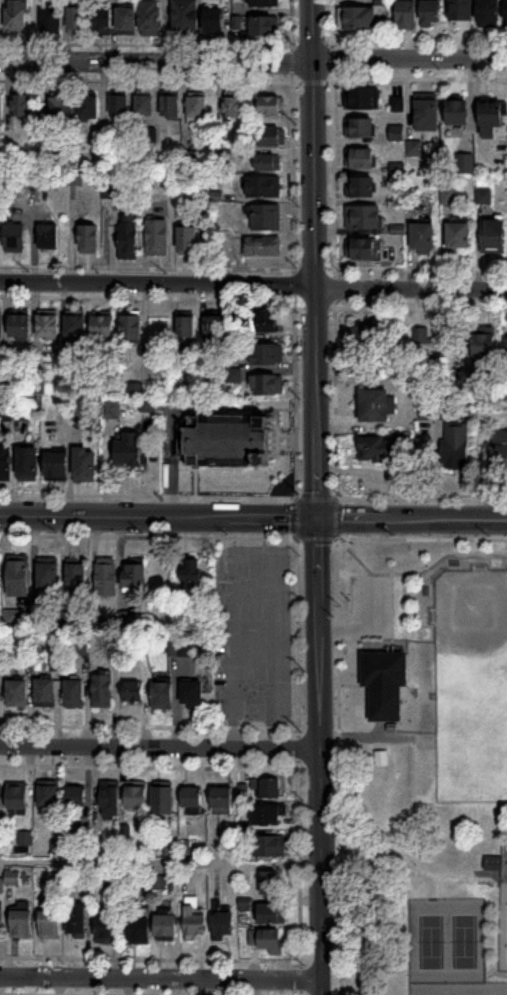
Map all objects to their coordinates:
building: (264, 3)
building: (461, 10)
building: (431, 13)
building: (489, 13)
building: (506, 13)
building: (18, 15)
building: (407, 15)
building: (52, 16)
building: (186, 16)
building: (363, 16)
road: (289, 17)
road: (329, 17)
building: (151, 18)
building: (77, 19)
building: (127, 19)
building: (214, 20)
building: (102, 21)
building: (264, 26)
road: (310, 35)
road: (290, 57)
road: (330, 57)
road: (253, 62)
road: (310, 80)
building: (360, 98)
building: (23, 106)
building: (119, 106)
building: (145, 106)
building: (170, 106)
building: (272, 106)
building: (62, 107)
building: (90, 107)
building: (197, 107)
building: (233, 107)
building: (1, 108)
building: (457, 113)
building: (426, 115)
building: (491, 119)
building: (360, 128)
building: (396, 133)
building: (272, 136)
building: (413, 148)
building: (360, 159)
building: (268, 163)
building: (43, 178)
building: (76, 179)
building: (264, 187)
building: (360, 187)
building: (115, 192)
building: (265, 217)
building: (363, 217)
building: (494, 236)
building: (129, 237)
building: (459, 237)
building: (49, 238)
building: (158, 238)
building: (423, 238)
building: (15, 239)
building: (90, 239)
building: (188, 241)
building: (257, 247)
building: (362, 249)
road: (315, 257)
road: (253, 286)
building: (268, 321)
building: (20, 325)
building: (48, 325)
building: (131, 325)
building: (76, 326)
building: (103, 326)
building: (1, 327)
building: (185, 327)
building: (215, 328)
building: (370, 333)
building: (420, 336)
building: (484, 348)
building: (505, 354)
building: (268, 355)
building: (235, 376)
building: (267, 385)
building: (374, 403)
building: (112, 410)
building: (229, 442)
building: (455, 444)
building: (383, 448)
building: (130, 450)
building: (499, 450)
building: (27, 462)
building: (5, 463)
building: (84, 464)
building: (57, 465)
road: (147, 494)
road: (400, 496)
road: (157, 515)
traffic signals: (315, 516)
road: (410, 517)
road: (147, 535)
road: (400, 537)
road: (416, 571)
building: (0, 573)
building: (16, 573)
road: (370, 573)
building: (47, 575)
building: (77, 576)
building: (106, 578)
building: (135, 578)
building: (191, 578)
parking lot: (372, 599)
park: (471, 610)
road: (370, 628)
building: (188, 650)
road: (352, 670)
building: (383, 681)
building: (132, 688)
building: (101, 689)
building: (15, 691)
building: (43, 691)
building: (72, 691)
building: (191, 692)
building: (160, 693)
road: (148, 724)
park: (470, 724)
road: (158, 745)
road: (296, 745)
road: (336, 745)
road: (318, 755)
park: (419, 762)
road: (148, 765)
building: (269, 789)
building: (48, 794)
building: (137, 795)
building: (15, 796)
building: (75, 796)
building: (161, 798)
building: (110, 799)
building: (1, 800)
building: (192, 801)
building: (223, 801)
building: (267, 815)
building: (269, 847)
building: (491, 860)
road: (160, 861)
road: (401, 861)
road: (488, 872)
building: (54, 881)
building: (269, 883)
road: (435, 885)
road: (502, 904)
park: (503, 907)
building: (270, 912)
building: (194, 919)
building: (1, 921)
building: (78, 921)
building: (20, 922)
building: (49, 922)
building: (222, 925)
road: (406, 925)
building: (166, 926)
building: (106, 928)
building: (139, 930)
building: (263, 939)
park: (448, 948)
road: (149, 957)
road: (159, 976)
road: (119, 993)

